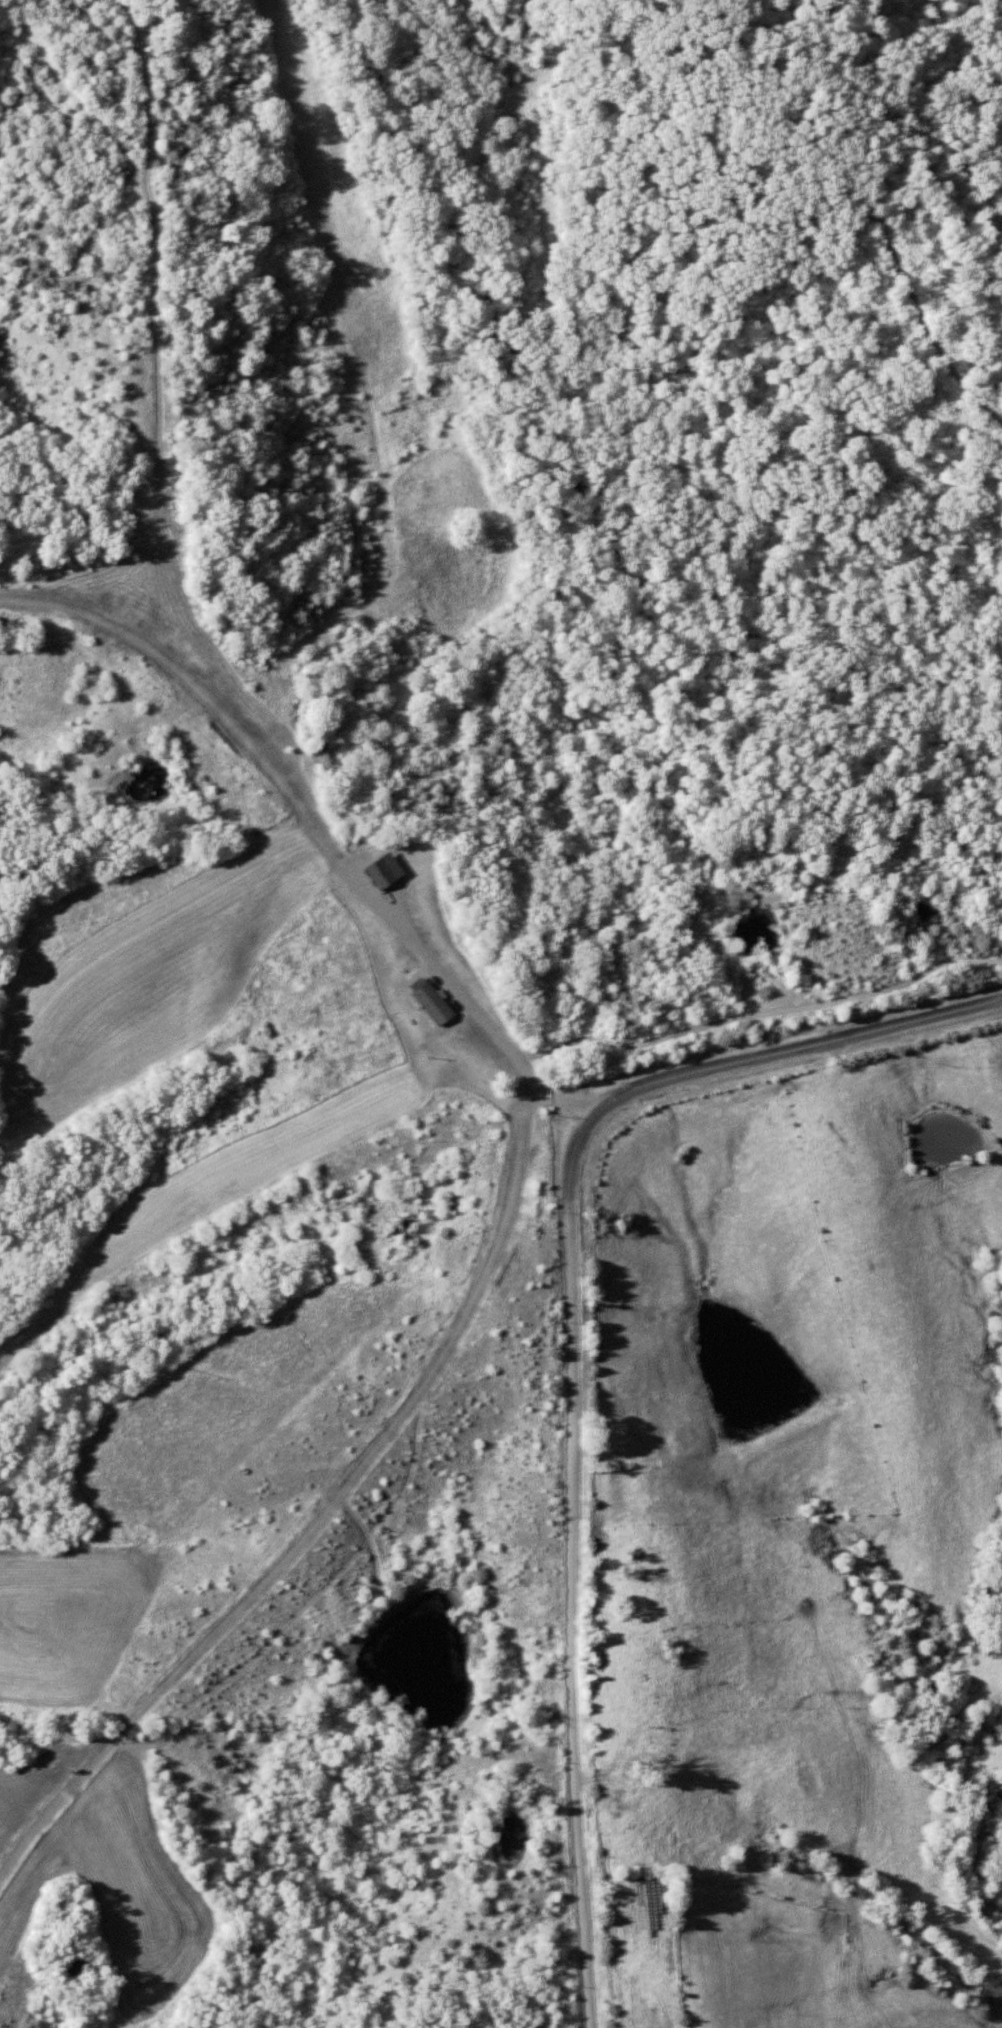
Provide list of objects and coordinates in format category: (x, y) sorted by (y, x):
building: (380, 870)
road: (469, 1016)
road: (754, 1057)
road: (568, 1607)

